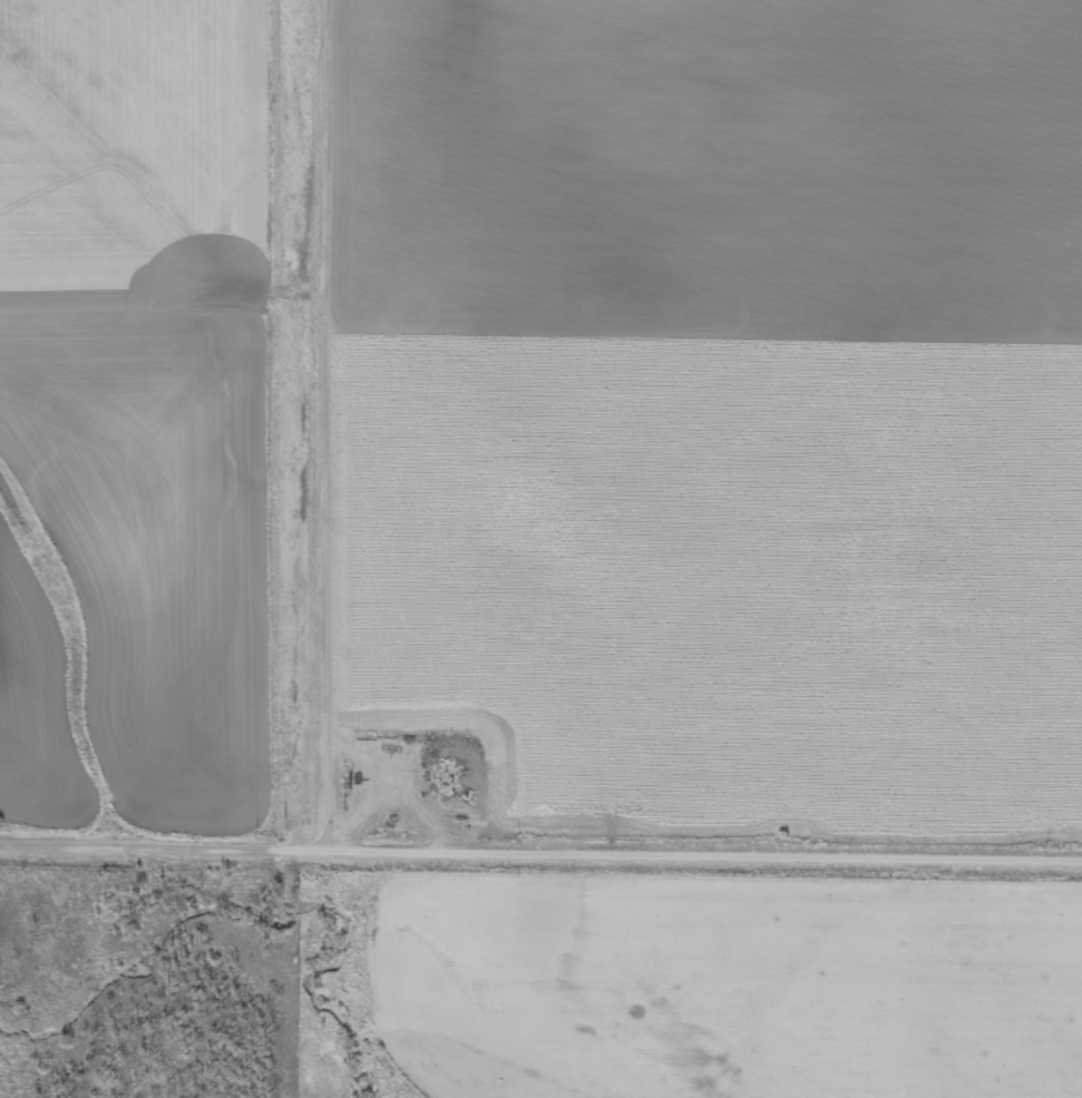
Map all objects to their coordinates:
road: (313, 424)
road: (540, 850)

